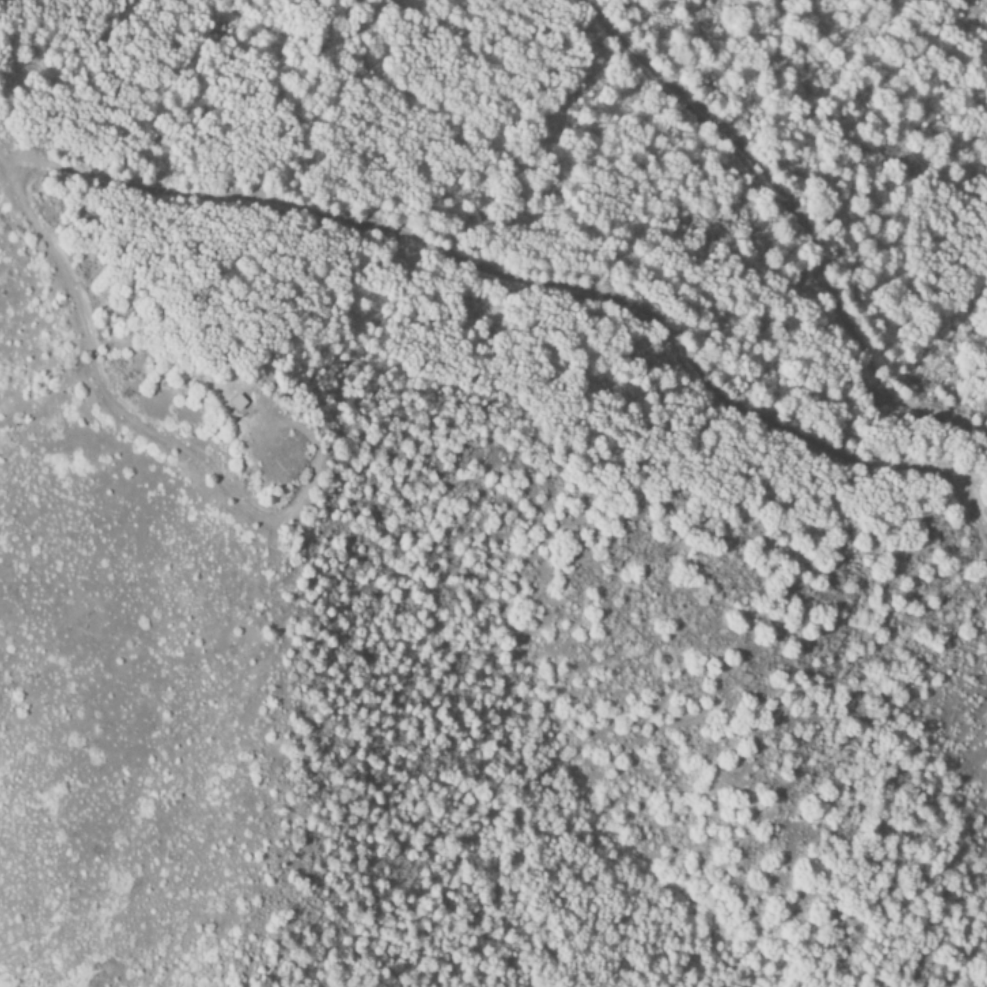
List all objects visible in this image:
road: (217, 194)
road: (799, 216)
building: (233, 399)

